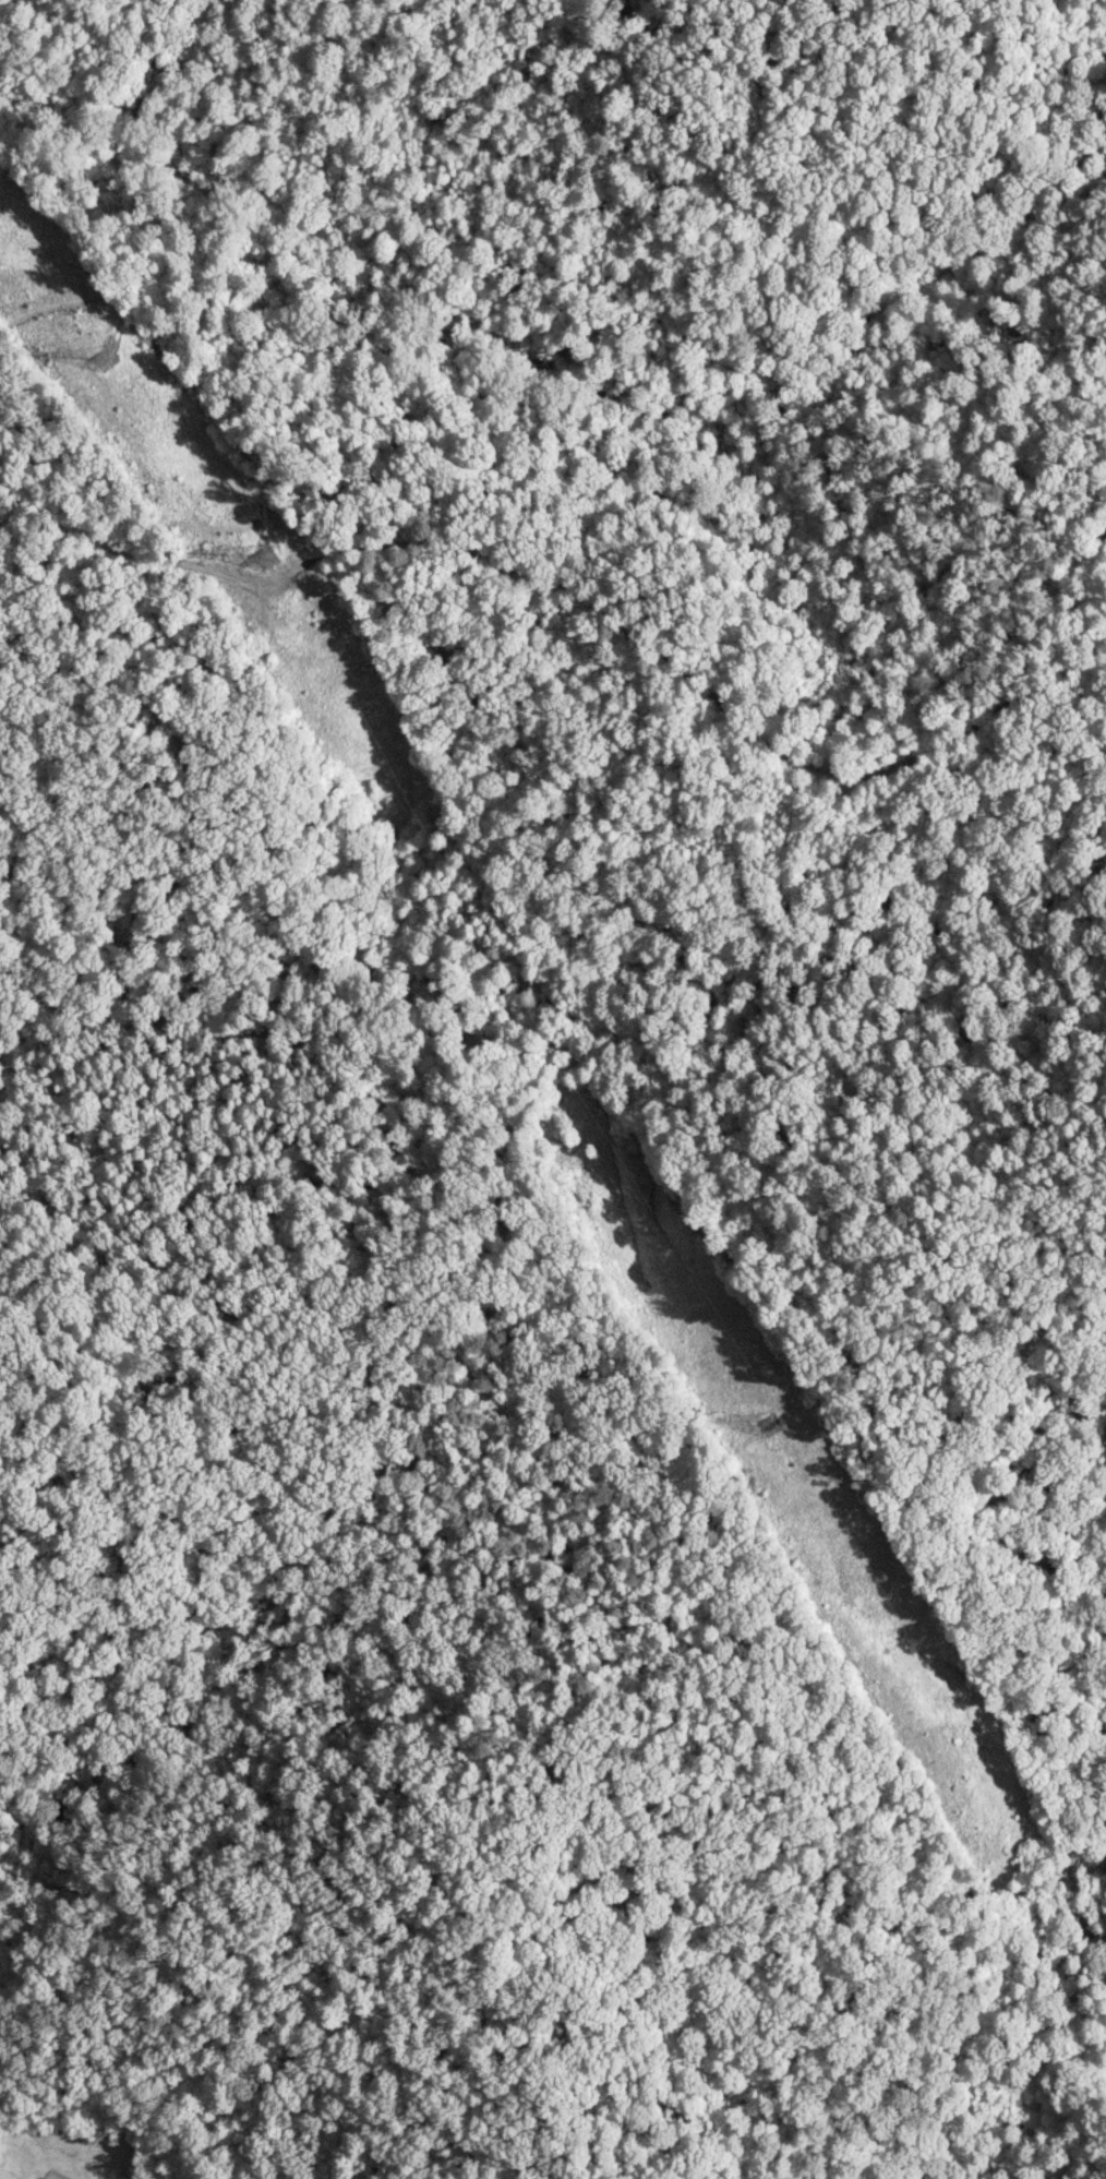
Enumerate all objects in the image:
building: (49, 2178)

